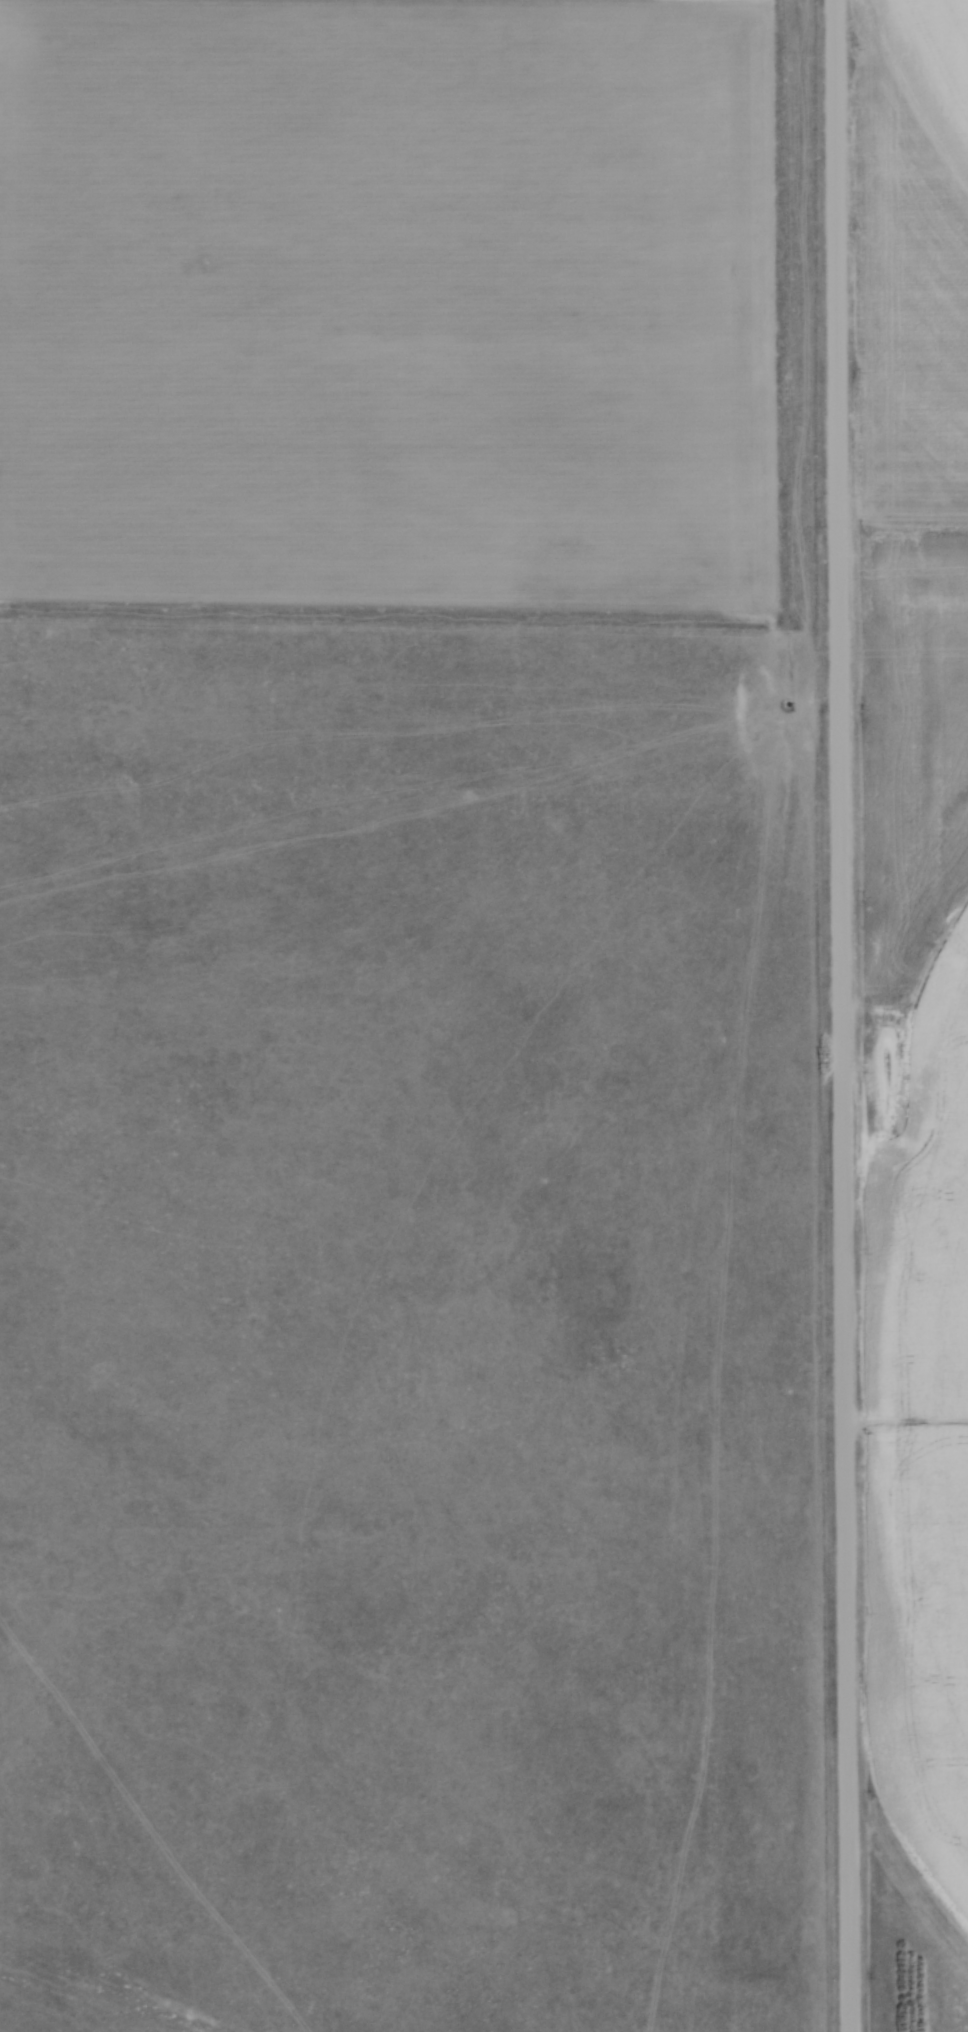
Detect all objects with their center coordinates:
road: (842, 1016)

